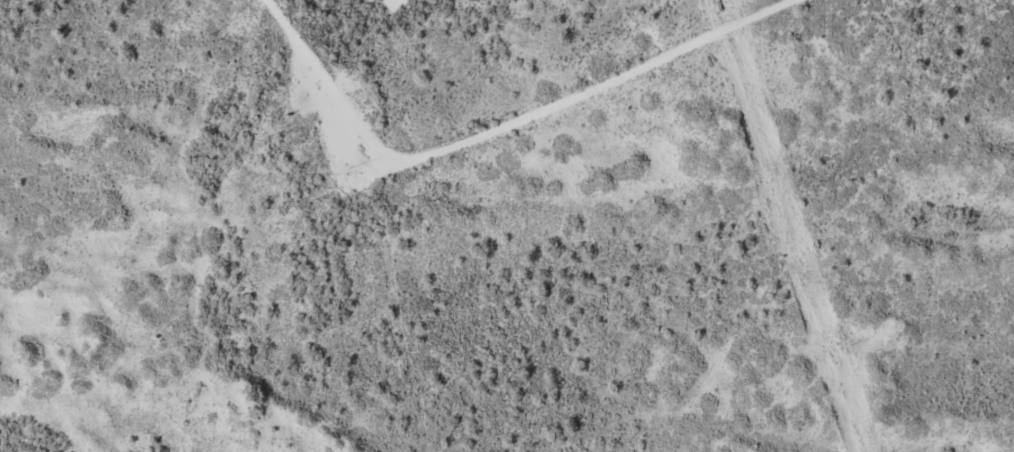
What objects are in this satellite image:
road: (528, 134)

